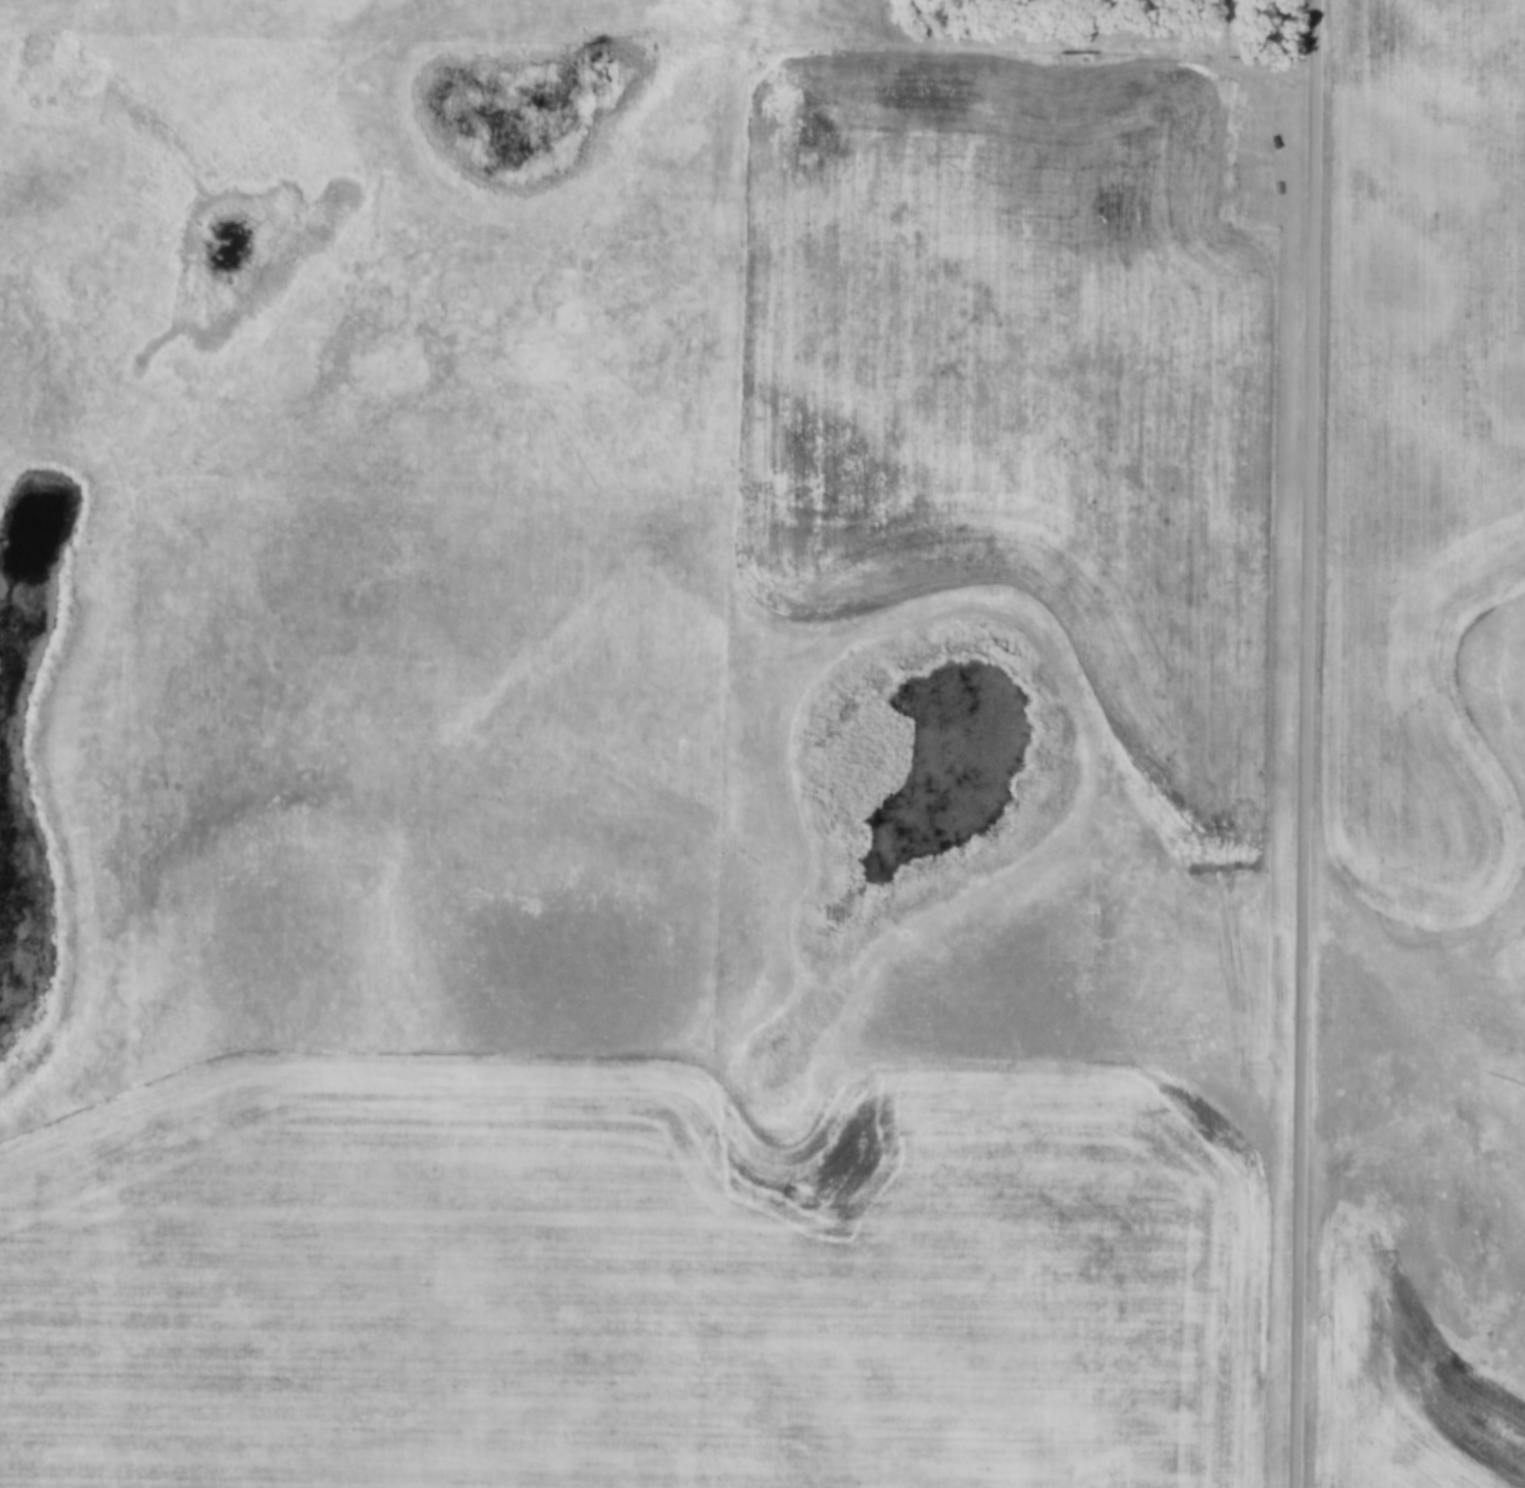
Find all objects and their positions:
road: (1306, 743)

